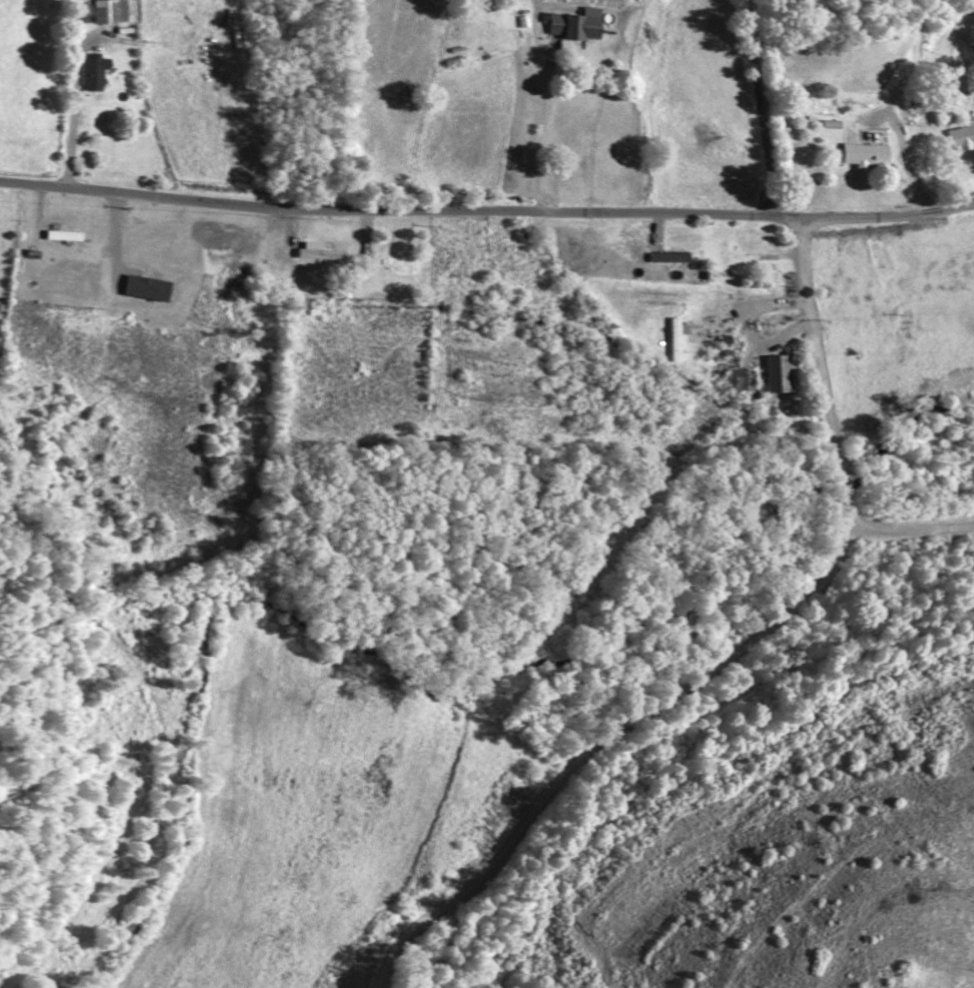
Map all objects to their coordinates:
building: (116, 10)
building: (577, 25)
building: (101, 72)
road: (764, 108)
building: (962, 137)
building: (861, 156)
road: (486, 212)
building: (324, 252)
building: (669, 258)
building: (154, 288)
building: (778, 374)
building: (741, 380)
road: (732, 654)

